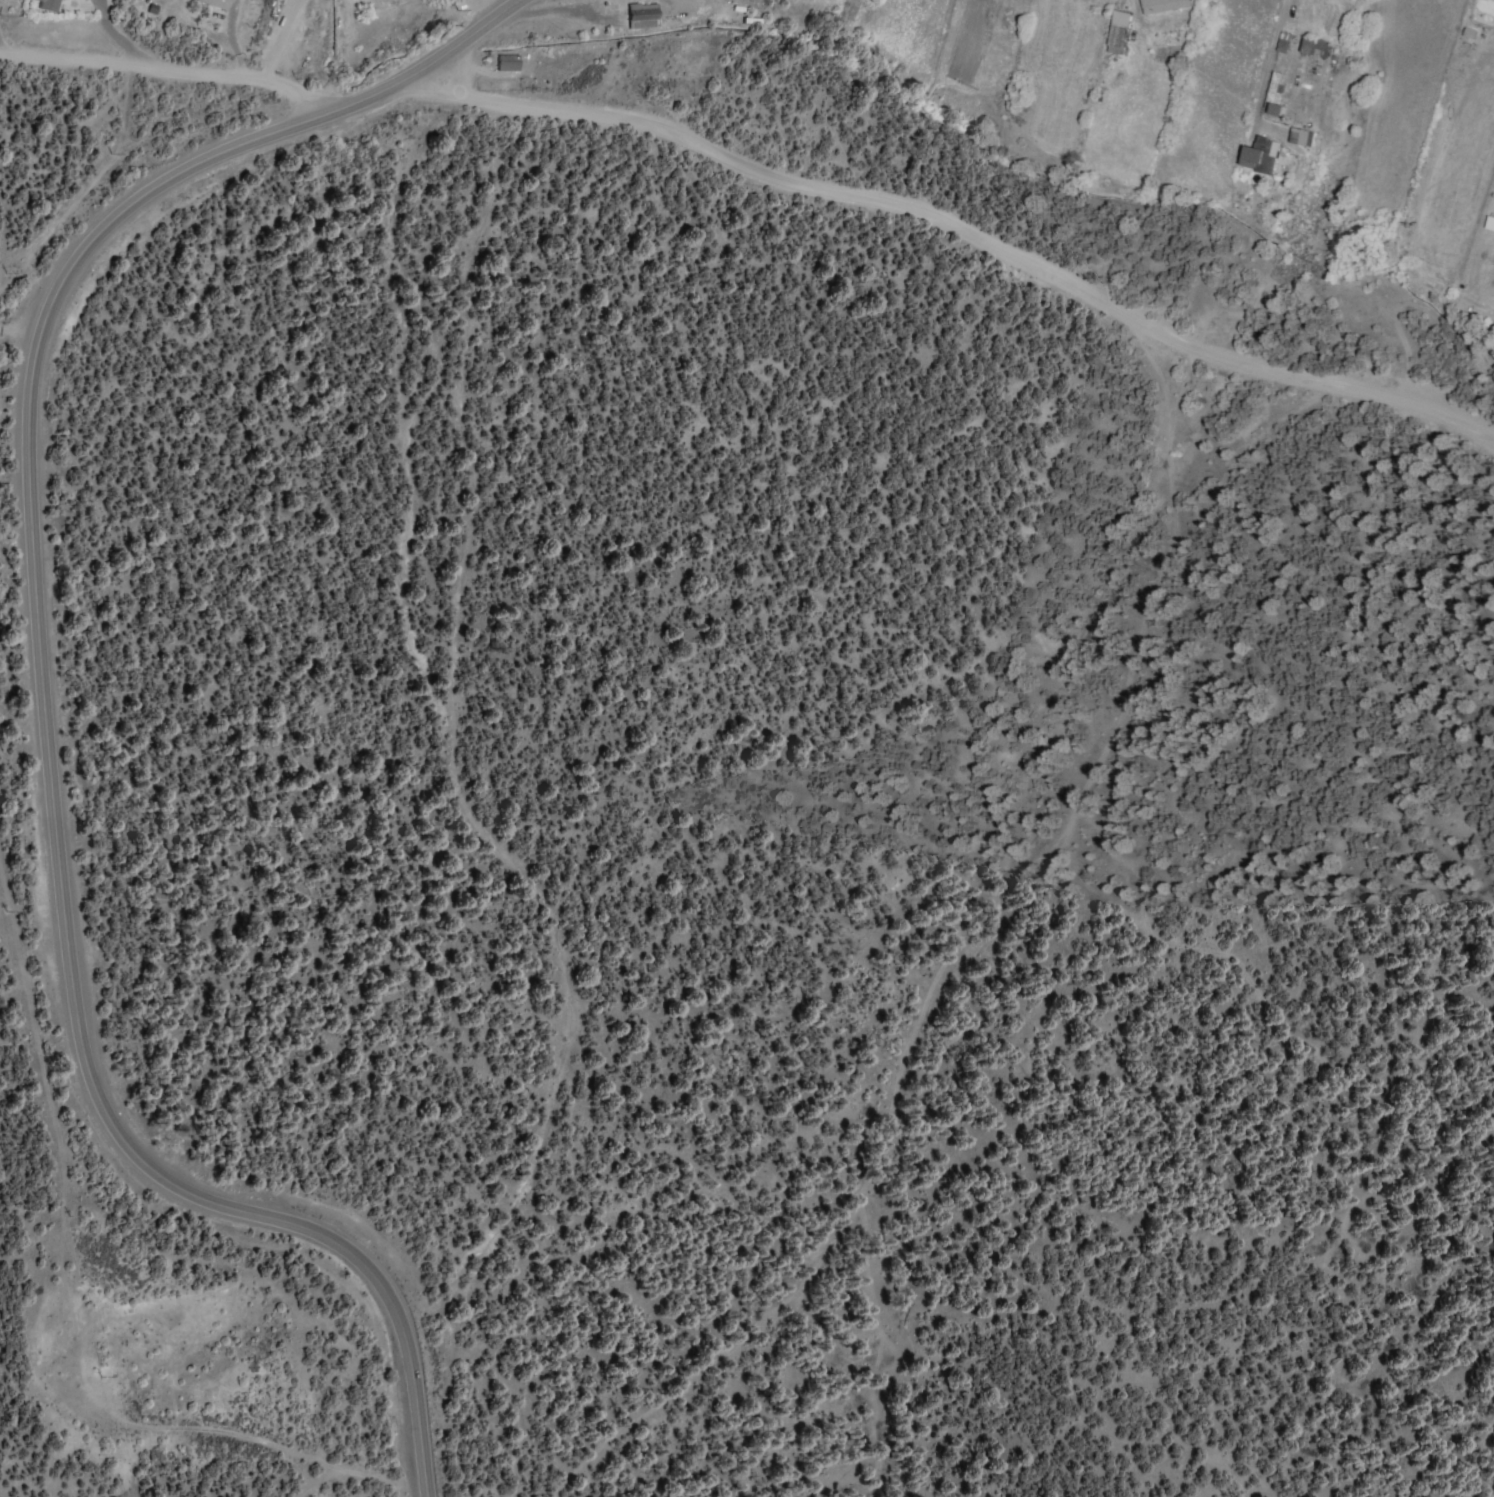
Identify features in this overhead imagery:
building: (448, 0)
building: (1490, 0)
building: (218, 3)
building: (48, 5)
building: (1165, 5)
road: (557, 11)
building: (1120, 31)
building: (1471, 32)
road: (116, 37)
road: (277, 38)
road: (230, 39)
building: (1284, 41)
building: (1317, 47)
road: (2, 49)
building: (508, 62)
road: (165, 70)
road: (1264, 74)
building: (1275, 96)
building: (1303, 136)
building: (1263, 154)
building: (1490, 222)
road: (960, 228)
road: (41, 701)
quarry: (160, 1367)

